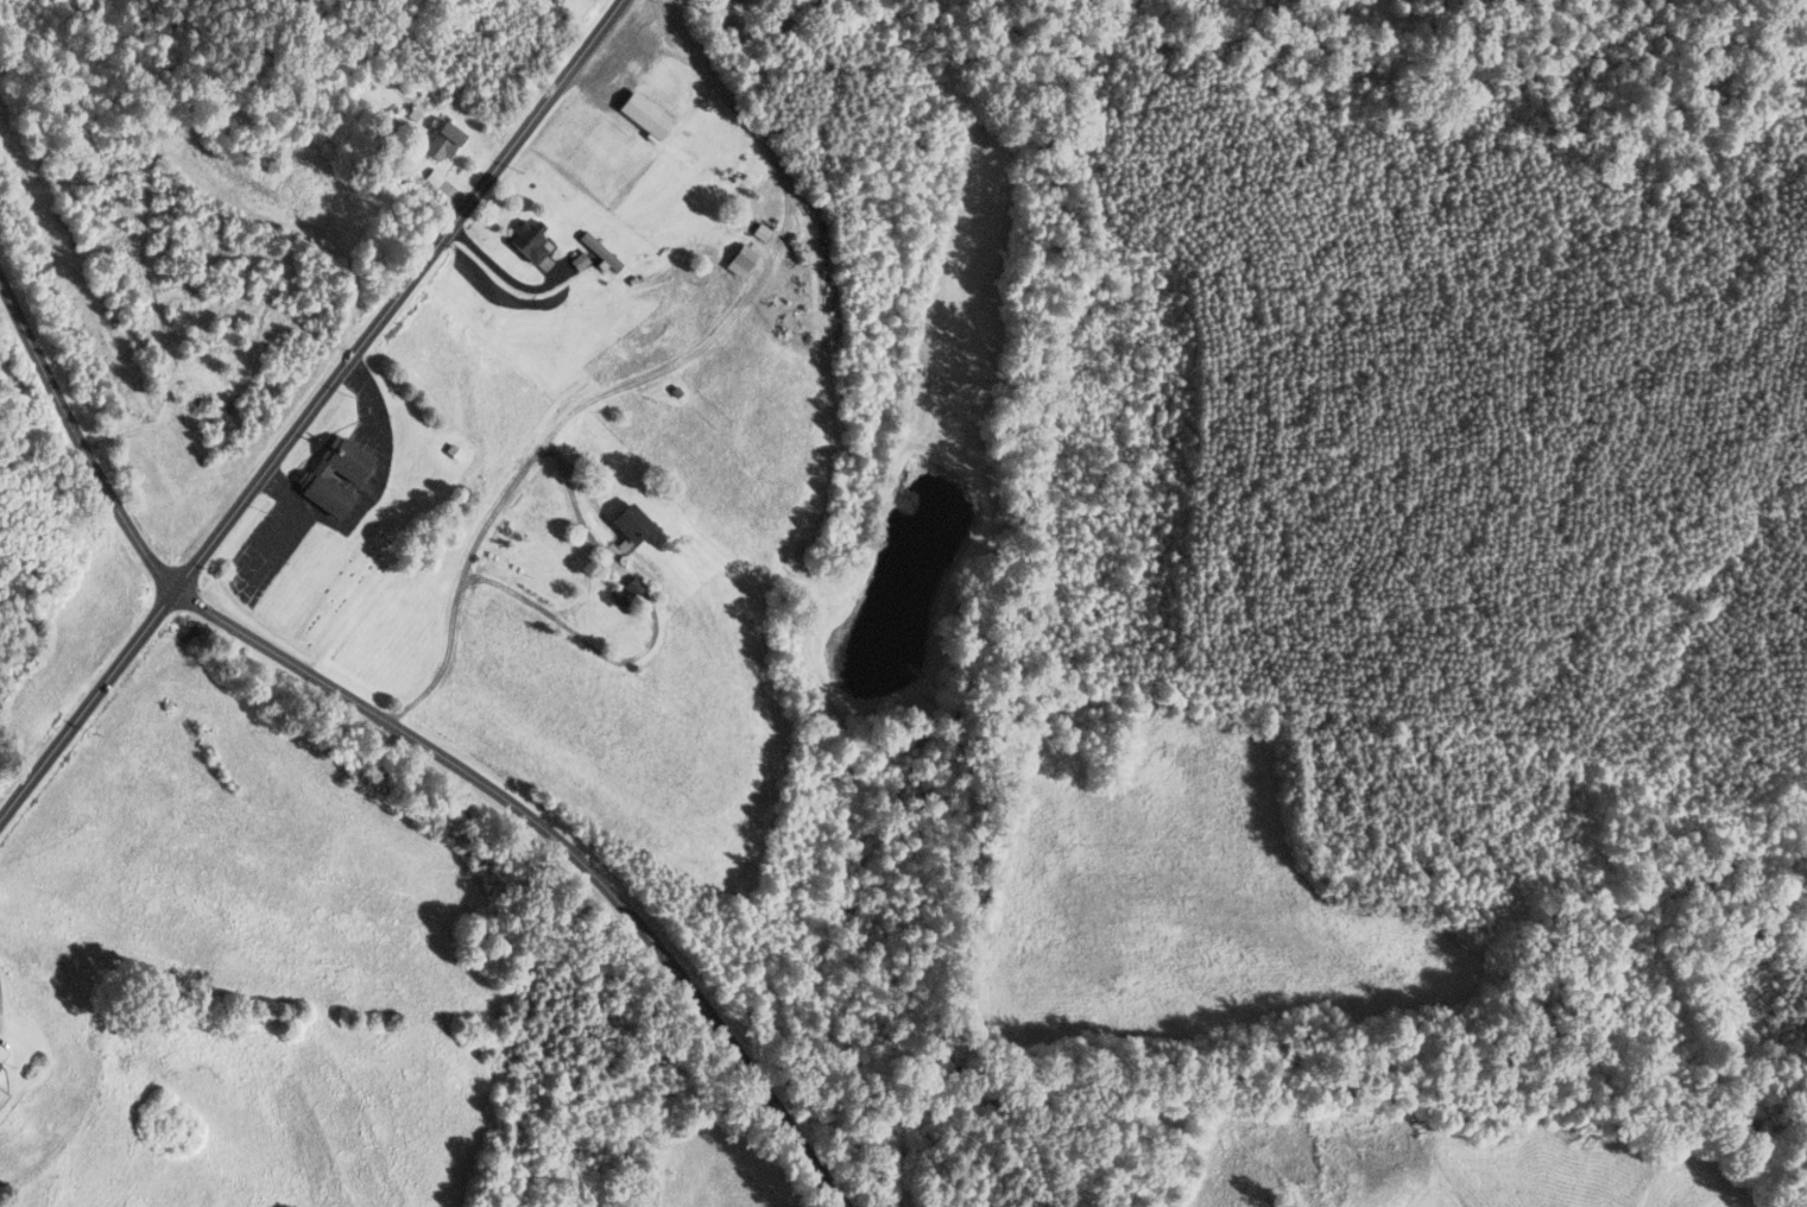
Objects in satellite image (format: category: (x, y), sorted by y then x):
building: (560, 0)
building: (729, 0)
road: (737, 40)
building: (643, 114)
building: (442, 140)
building: (760, 230)
building: (526, 242)
building: (599, 251)
building: (739, 259)
road: (501, 271)
road: (309, 407)
road: (77, 437)
building: (352, 474)
road: (1398, 481)
road: (486, 523)
building: (630, 523)
road: (574, 632)
road: (1061, 772)
road: (1793, 804)
road: (563, 839)

